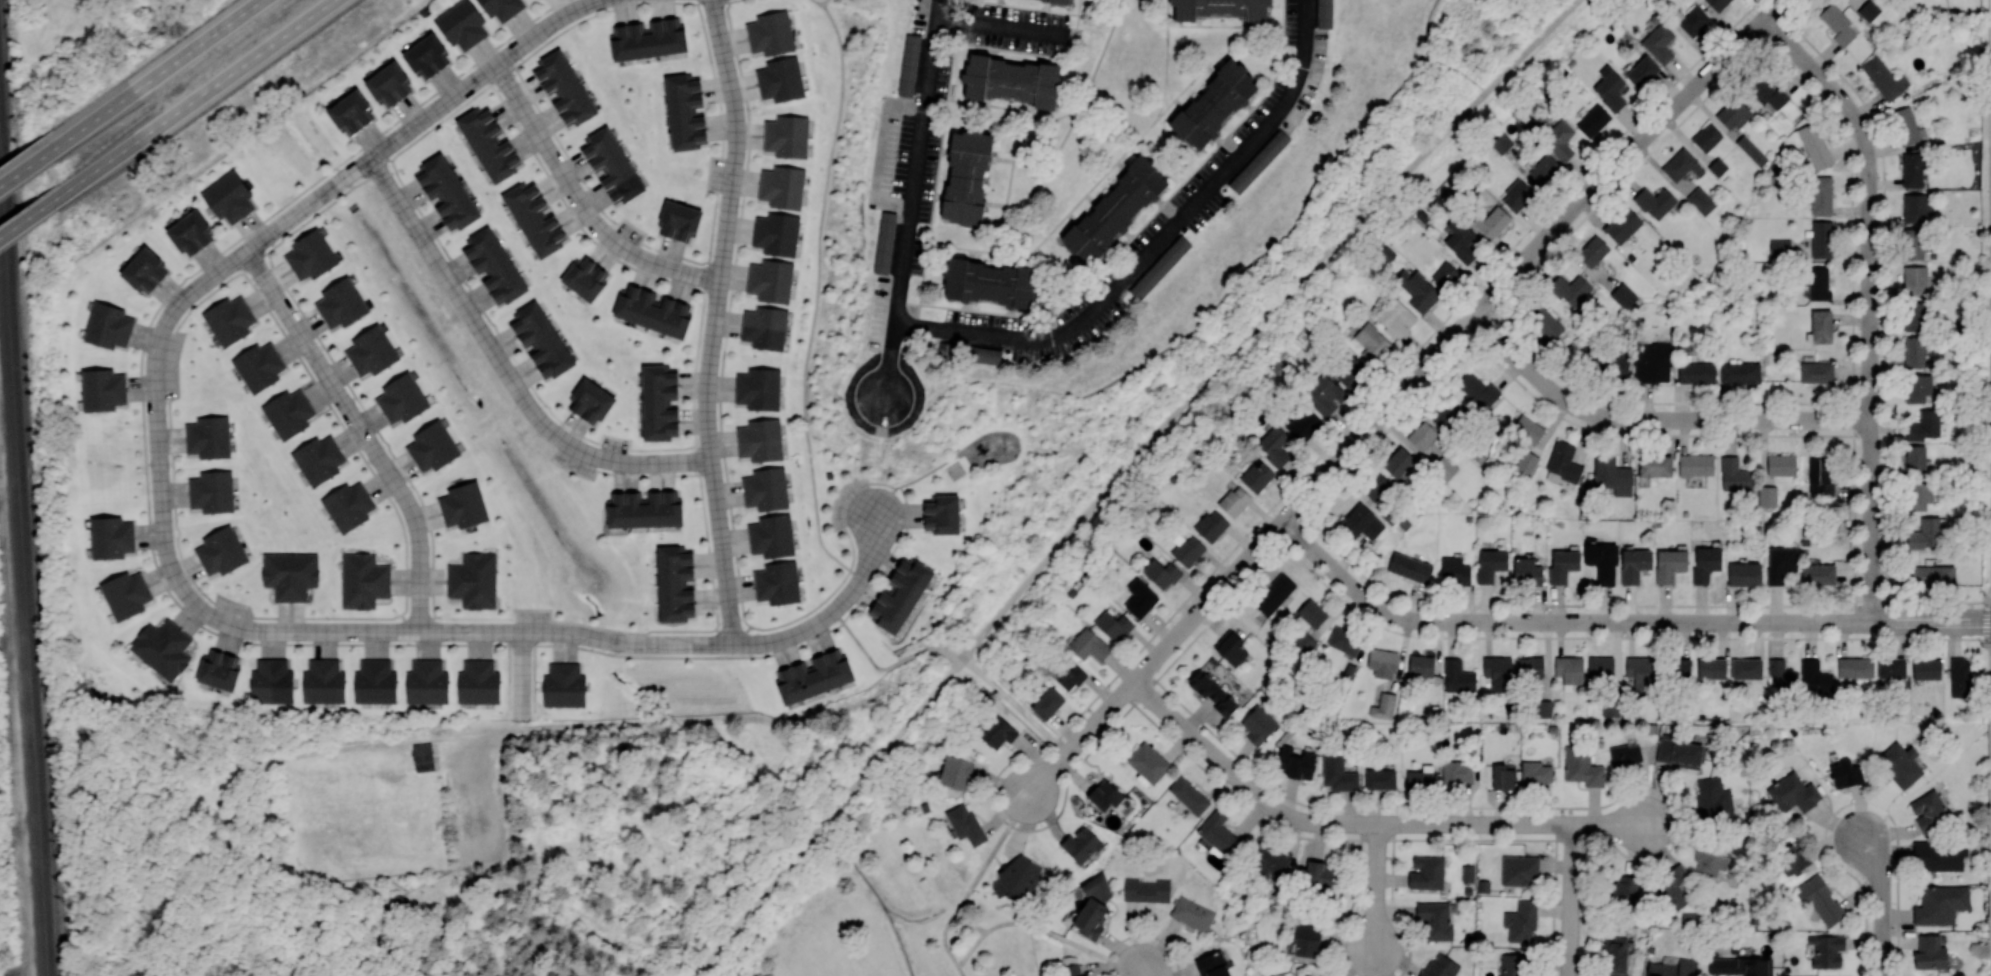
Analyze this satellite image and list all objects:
building: (1717, 4)
building: (501, 8)
building: (1221, 8)
building: (1869, 10)
building: (1324, 14)
building: (1694, 21)
road: (1077, 22)
building: (462, 24)
building: (1837, 24)
road: (1002, 26)
building: (770, 33)
building: (647, 40)
building: (1659, 43)
building: (426, 56)
road: (1165, 61)
building: (908, 65)
road: (157, 71)
building: (1642, 71)
building: (1884, 78)
building: (780, 79)
building: (1013, 80)
building: (389, 84)
building: (564, 88)
building: (1609, 88)
building: (1767, 92)
road: (195, 97)
building: (1213, 105)
building: (684, 111)
building: (1731, 112)
building: (1593, 120)
building: (1907, 125)
building: (787, 136)
building: (1707, 137)
building: (1560, 140)
building: (1501, 143)
building: (489, 145)
building: (1815, 145)
road: (380, 148)
building: (1751, 150)
building: (1258, 161)
road: (938, 162)
road: (28, 163)
building: (612, 165)
building: (1682, 165)
building: (1717, 166)
building: (1544, 169)
building: (1912, 169)
railway: (4, 175)
building: (966, 176)
building: (782, 186)
building: (446, 192)
road: (1085, 193)
building: (1517, 195)
building: (1821, 195)
building: (229, 197)
road: (912, 200)
building: (1701, 200)
building: (1654, 201)
road: (581, 203)
road: (1990, 203)
building: (1916, 207)
building: (1115, 209)
road: (29, 215)
building: (534, 219)
building: (678, 220)
building: (1493, 221)
road: (1294, 223)
building: (1622, 224)
road: (1140, 227)
building: (190, 232)
building: (776, 233)
building: (1821, 239)
building: (1460, 240)
building: (885, 242)
road: (1155, 244)
building: (1915, 244)
building: (1779, 249)
building: (1592, 251)
building: (310, 255)
building: (494, 266)
building: (1160, 267)
building: (144, 270)
building: (1445, 275)
building: (584, 279)
building: (1915, 279)
building: (770, 280)
building: (990, 283)
building: (1818, 283)
building: (1571, 289)
building: (1417, 290)
road: (816, 294)
building: (1623, 295)
road: (1869, 301)
building: (341, 303)
building: (652, 311)
building: (1915, 316)
building: (1395, 317)
building: (229, 320)
road: (715, 320)
road: (1263, 320)
building: (1544, 321)
building: (108, 326)
building: (1821, 326)
building: (765, 327)
road: (1452, 337)
building: (541, 340)
building: (1372, 343)
building: (371, 351)
building: (1915, 352)
building: (986, 355)
building: (1652, 360)
building: (1621, 365)
building: (259, 366)
road: (503, 367)
building: (1817, 371)
building: (1351, 372)
building: (1696, 372)
building: (1740, 372)
road: (988, 379)
building: (1917, 387)
building: (759, 388)
building: (1477, 388)
building: (103, 389)
building: (1324, 394)
building: (402, 398)
building: (590, 400)
building: (658, 402)
building: (289, 413)
building: (1448, 416)
road: (1652, 420)
building: (1303, 423)
building: (1924, 425)
road: (350, 431)
building: (1422, 434)
building: (208, 437)
building: (760, 439)
building: (1528, 442)
building: (433, 446)
building: (1273, 446)
building: (1916, 458)
building: (318, 459)
building: (1563, 461)
building: (1398, 462)
building: (1696, 464)
building: (1655, 465)
building: (1445, 467)
building: (1734, 474)
building: (1257, 475)
building: (1612, 475)
building: (1819, 478)
road: (915, 479)
building: (1766, 479)
road: (881, 483)
building: (1376, 487)
building: (766, 489)
building: (212, 491)
building: (1920, 495)
building: (1234, 500)
park: (754, 503)
building: (348, 505)
building: (463, 505)
building: (644, 509)
building: (941, 513)
building: (1362, 522)
building: (1211, 525)
building: (1925, 533)
building: (771, 535)
building: (112, 537)
building: (1187, 549)
building: (221, 551)
building: (1602, 560)
building: (1706, 563)
building: (1780, 563)
building: (1490, 564)
building: (1562, 564)
building: (1669, 564)
building: (1634, 565)
building: (1409, 567)
building: (1527, 570)
building: (1455, 571)
building: (1161, 573)
building: (1744, 573)
building: (290, 574)
building: (1819, 574)
building: (363, 580)
building: (473, 580)
building: (777, 582)
building: (675, 583)
building: (1274, 593)
building: (126, 594)
building: (900, 595)
building: (1140, 597)
road: (834, 611)
railway: (29, 613)
road: (187, 613)
building: (1312, 613)
road: (1619, 622)
railway: (20, 625)
road: (303, 625)
building: (1113, 625)
road: (1625, 636)
building: (1344, 641)
building: (1304, 642)
building: (1090, 645)
building: (1231, 647)
building: (162, 648)
building: (1382, 662)
building: (1421, 665)
road: (887, 666)
building: (1855, 666)
building: (1891, 666)
building: (1530, 667)
building: (1600, 667)
building: (1681, 668)
building: (1711, 668)
building: (1746, 668)
building: (1927, 668)
building: (218, 669)
building: (1569, 670)
building: (1498, 674)
building: (1641, 674)
building: (1781, 675)
road: (514, 676)
building: (813, 676)
building: (1070, 676)
building: (1458, 676)
building: (1815, 677)
building: (1960, 677)
building: (272, 681)
building: (323, 681)
building: (375, 682)
building: (427, 682)
building: (478, 682)
building: (564, 685)
building: (1213, 692)
building: (1543, 700)
building: (1047, 703)
building: (1383, 706)
road: (1016, 707)
building: (1610, 707)
building: (1258, 725)
park: (40, 727)
road: (494, 731)
building: (996, 731)
road: (1081, 741)
road: (312, 752)
building: (1679, 752)
building: (1625, 754)
building: (425, 758)
building: (1148, 762)
building: (1295, 762)
building: (1900, 764)
building: (1582, 766)
building: (956, 772)
building: (1337, 773)
building: (1455, 773)
building: (1535, 773)
building: (1845, 773)
building: (1503, 777)
building: (1380, 778)
building: (1420, 781)
road: (1990, 788)
building: (1792, 794)
road: (478, 795)
building: (1105, 795)
building: (1189, 795)
building: (1713, 798)
parking lot: (477, 800)
building: (1929, 811)
road: (828, 817)
park: (366, 819)
building: (965, 823)
road: (1328, 825)
road: (1619, 825)
building: (1218, 833)
building: (1081, 844)
building: (274, 856)
building: (1937, 857)
building: (1791, 859)
building: (1710, 860)
building: (1271, 861)
building: (1519, 870)
building: (1427, 872)
building: (1468, 872)
building: (1318, 874)
building: (1021, 876)
road: (974, 886)
building: (1624, 886)
building: (1671, 888)
building: (1146, 889)
road: (1376, 891)
park: (863, 898)
building: (1821, 899)
road: (1571, 900)
road: (1881, 902)
building: (1940, 904)
building: (393, 906)
building: (1094, 906)
building: (1192, 913)
building: (1435, 919)
building: (1521, 921)
road: (1044, 930)
building: (1306, 940)
building: (1827, 950)
building: (1930, 952)
building: (1616, 956)
building: (1212, 964)
building: (1510, 964)
building: (1738, 965)
building: (1440, 966)
building: (1673, 967)
building: (1073, 969)
road: (1144, 972)
building: (1306, 974)

